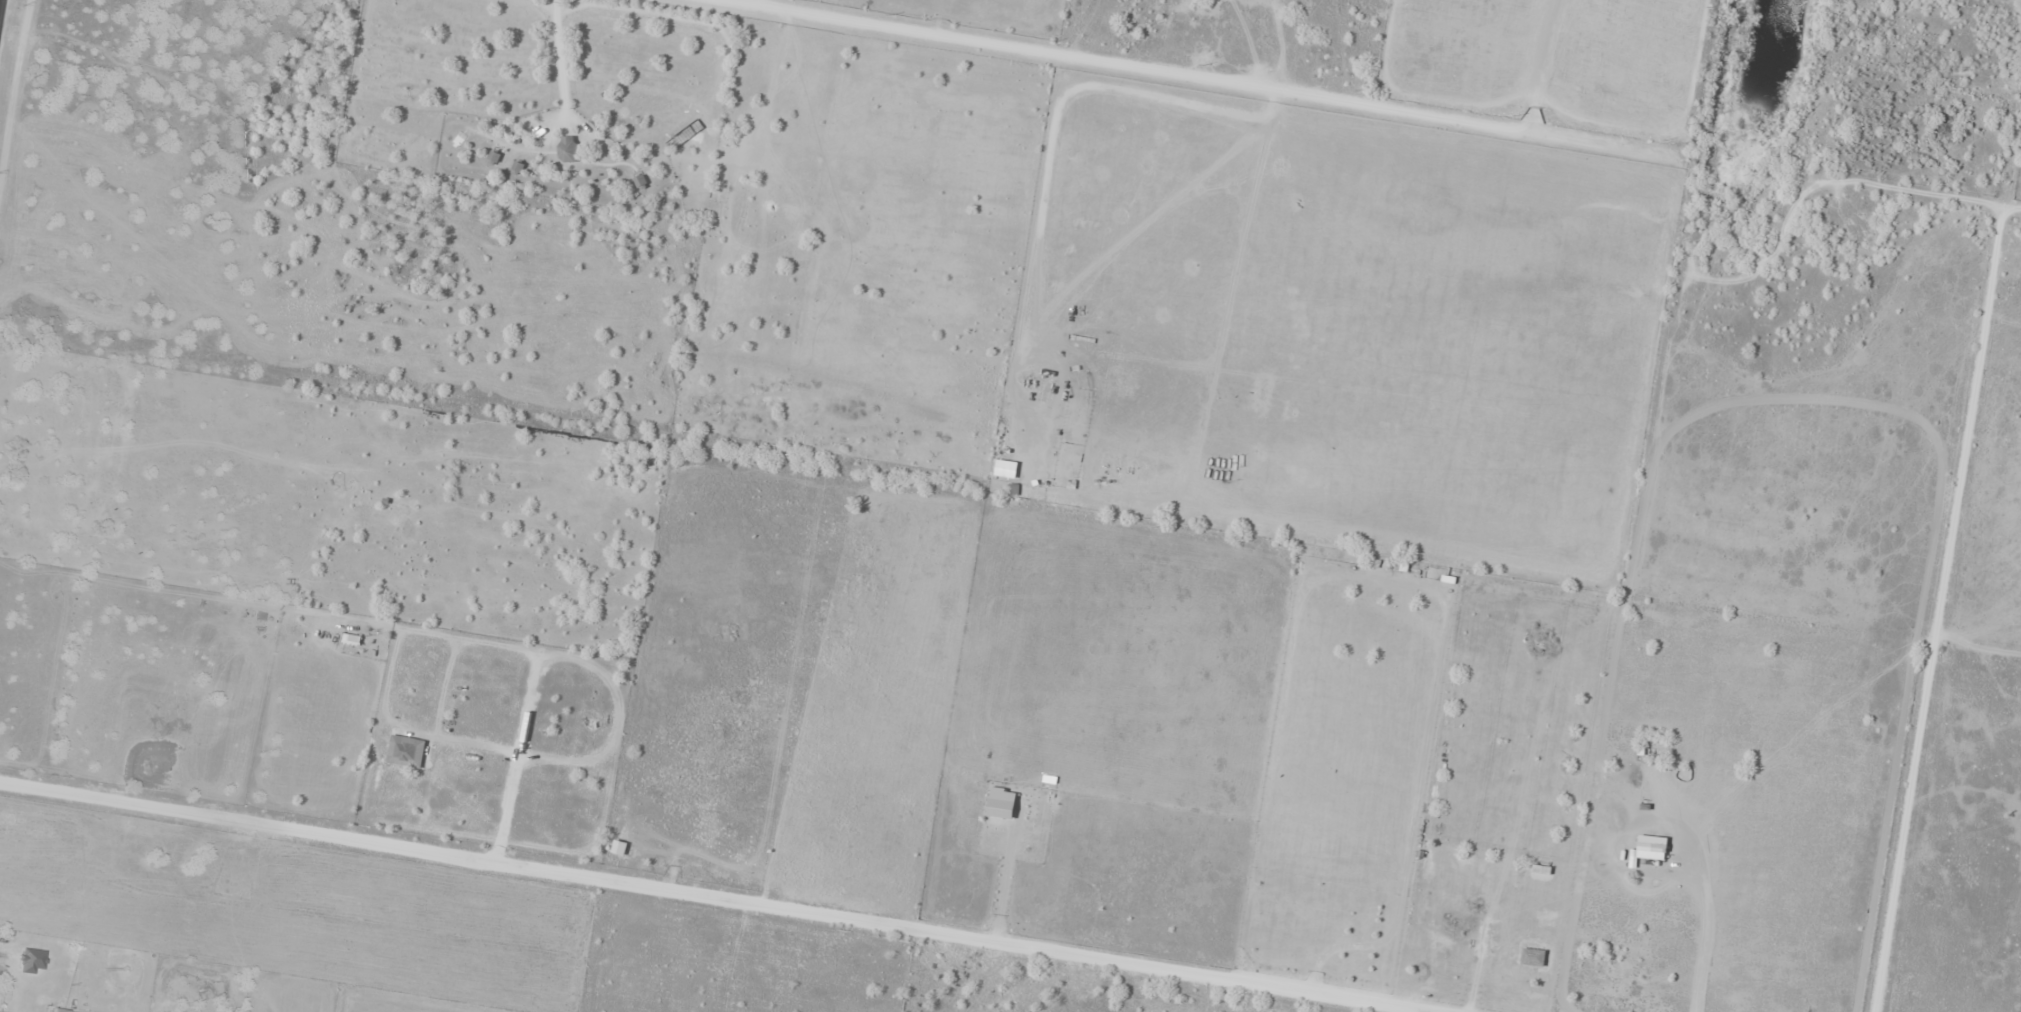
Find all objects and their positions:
building: (456, 141)
building: (567, 149)

